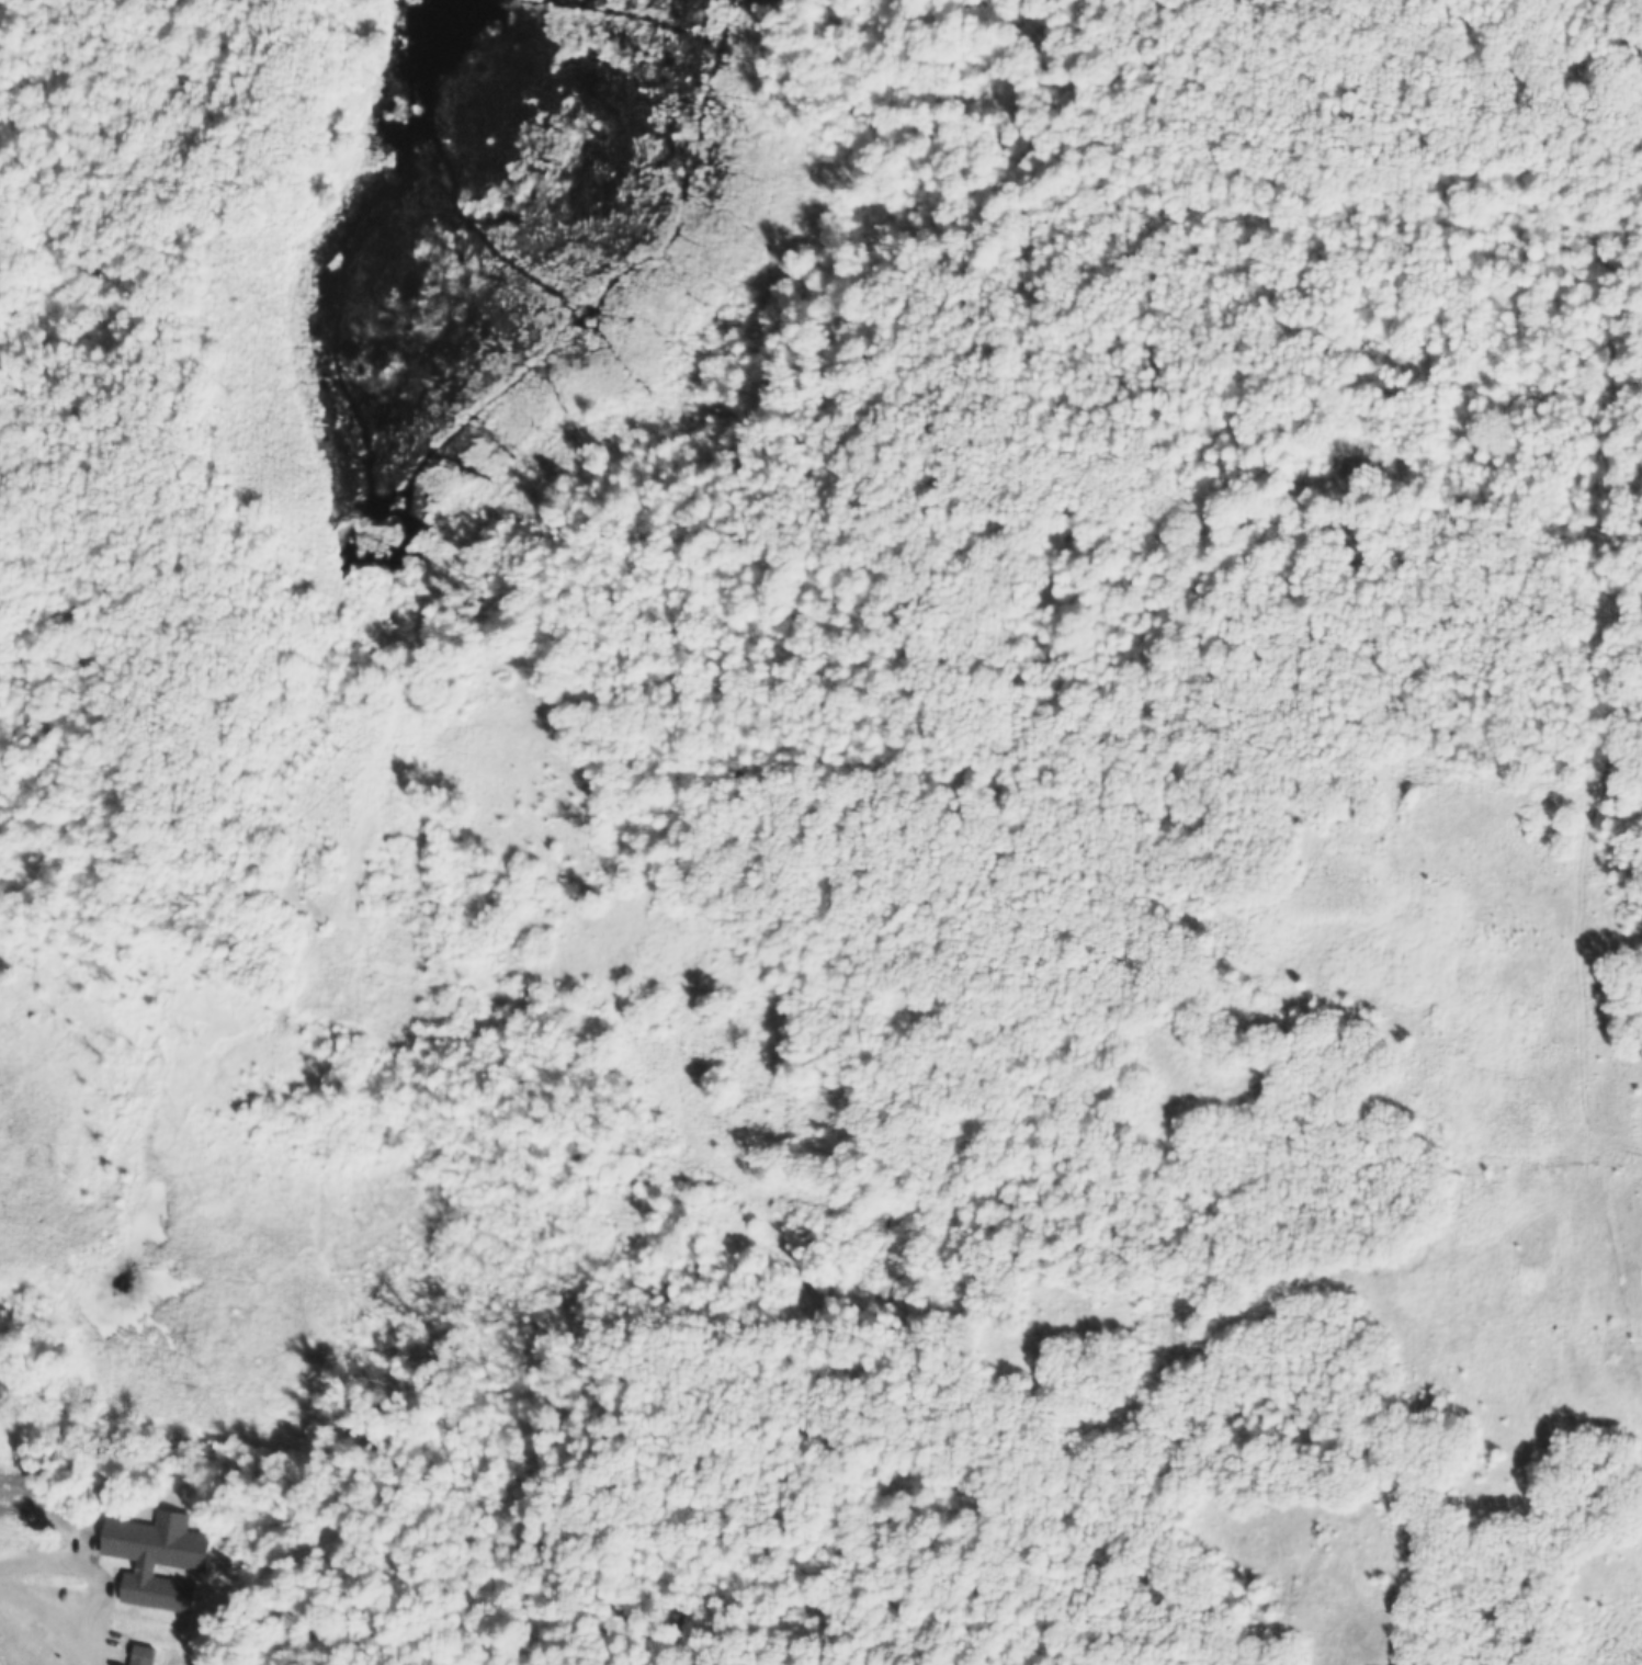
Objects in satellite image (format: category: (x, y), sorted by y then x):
building: (163, 1540)
road: (111, 1593)
building: (152, 1653)

